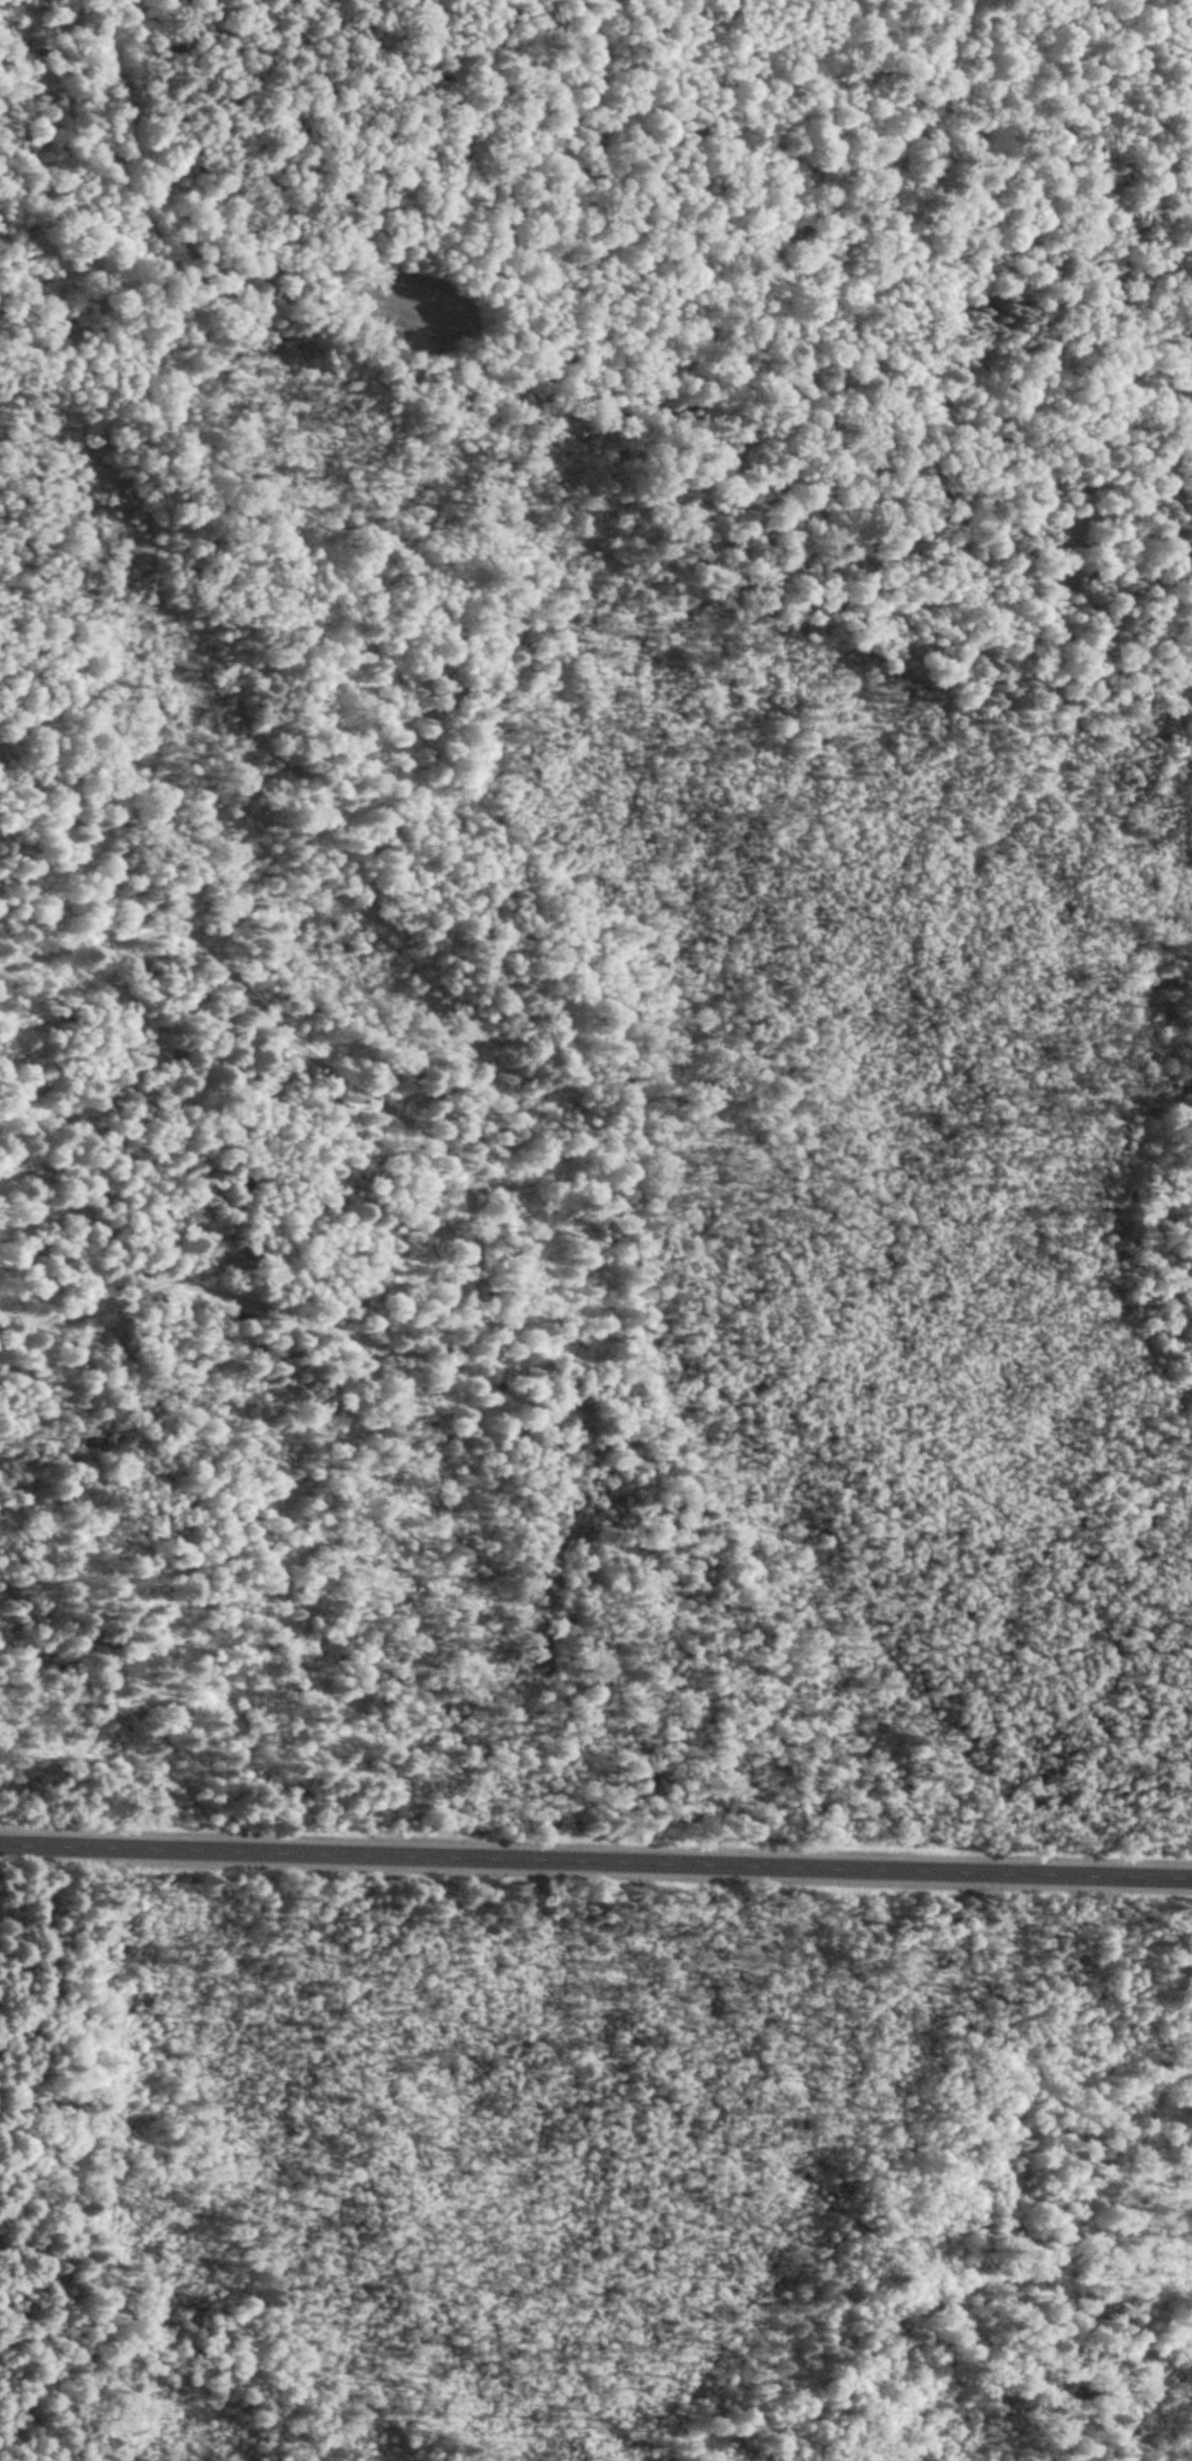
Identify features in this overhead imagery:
road: (596, 1857)

